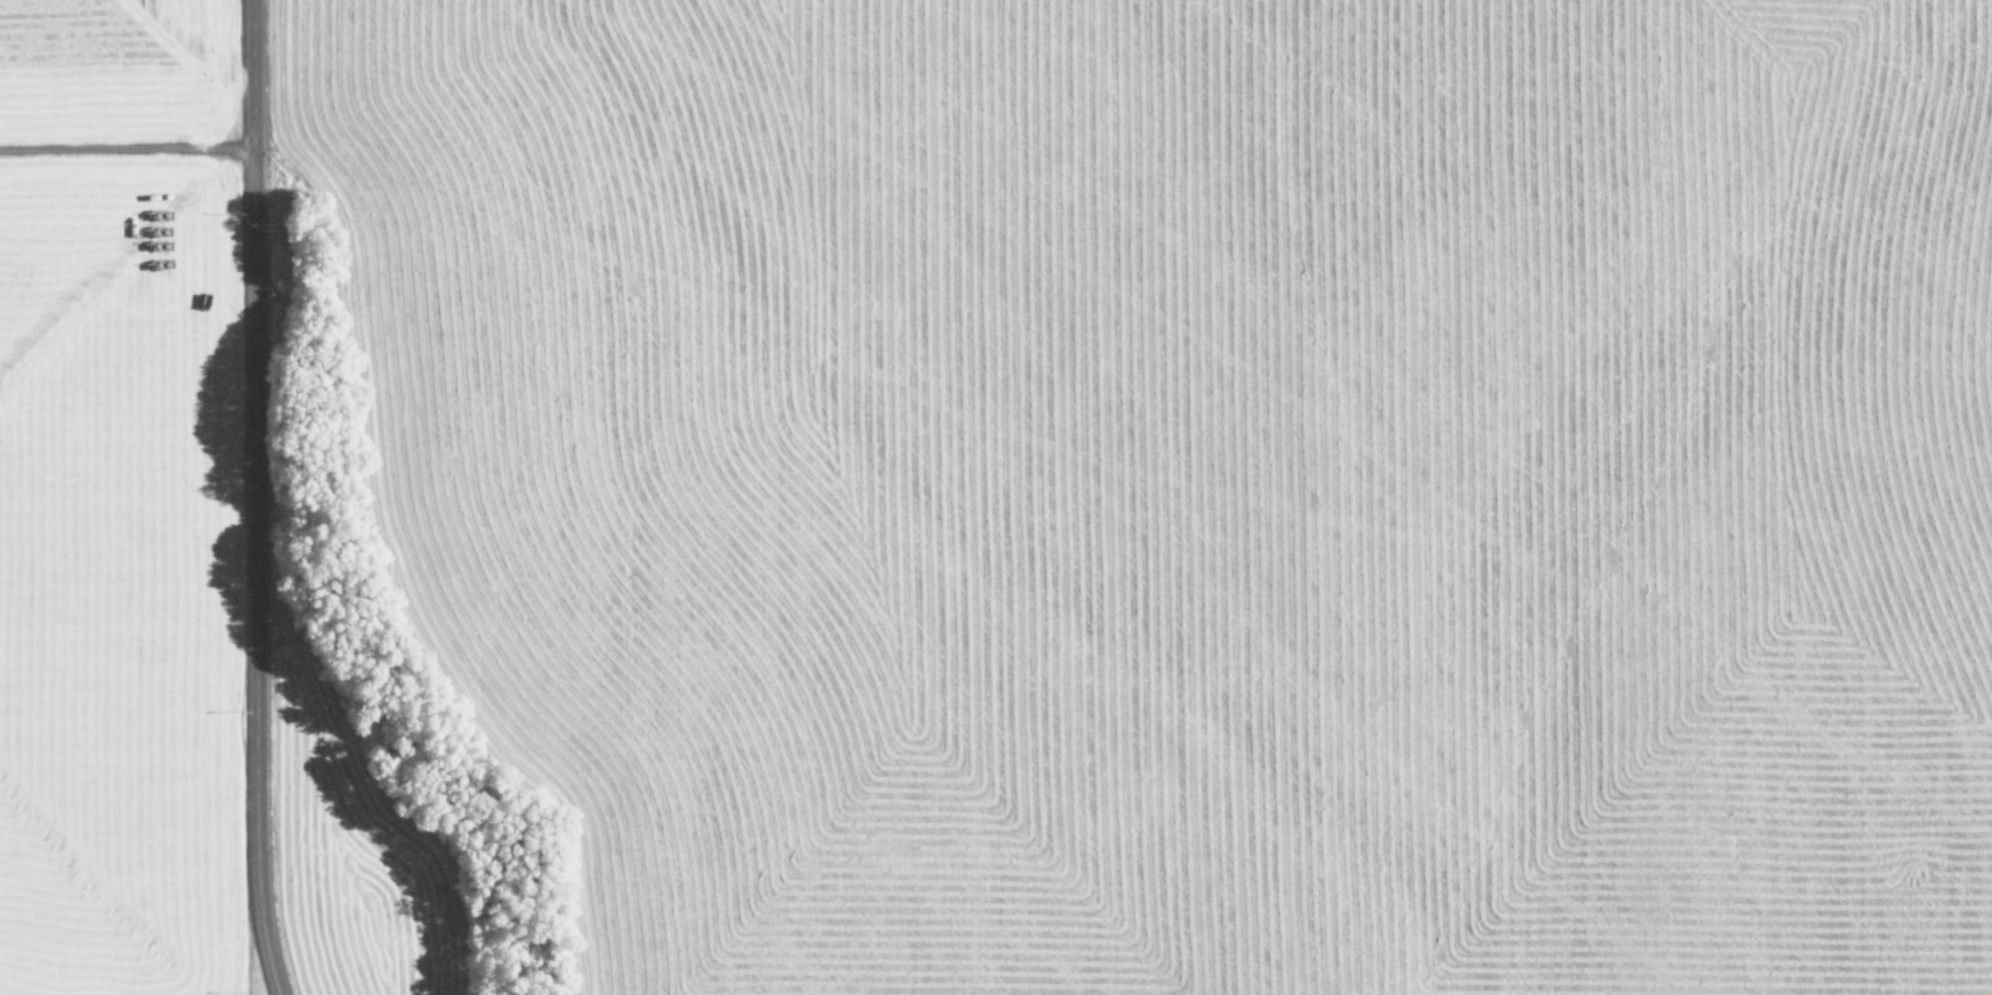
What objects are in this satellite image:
road: (130, 150)
crop: (1145, 496)
road: (264, 497)
crop: (113, 498)

